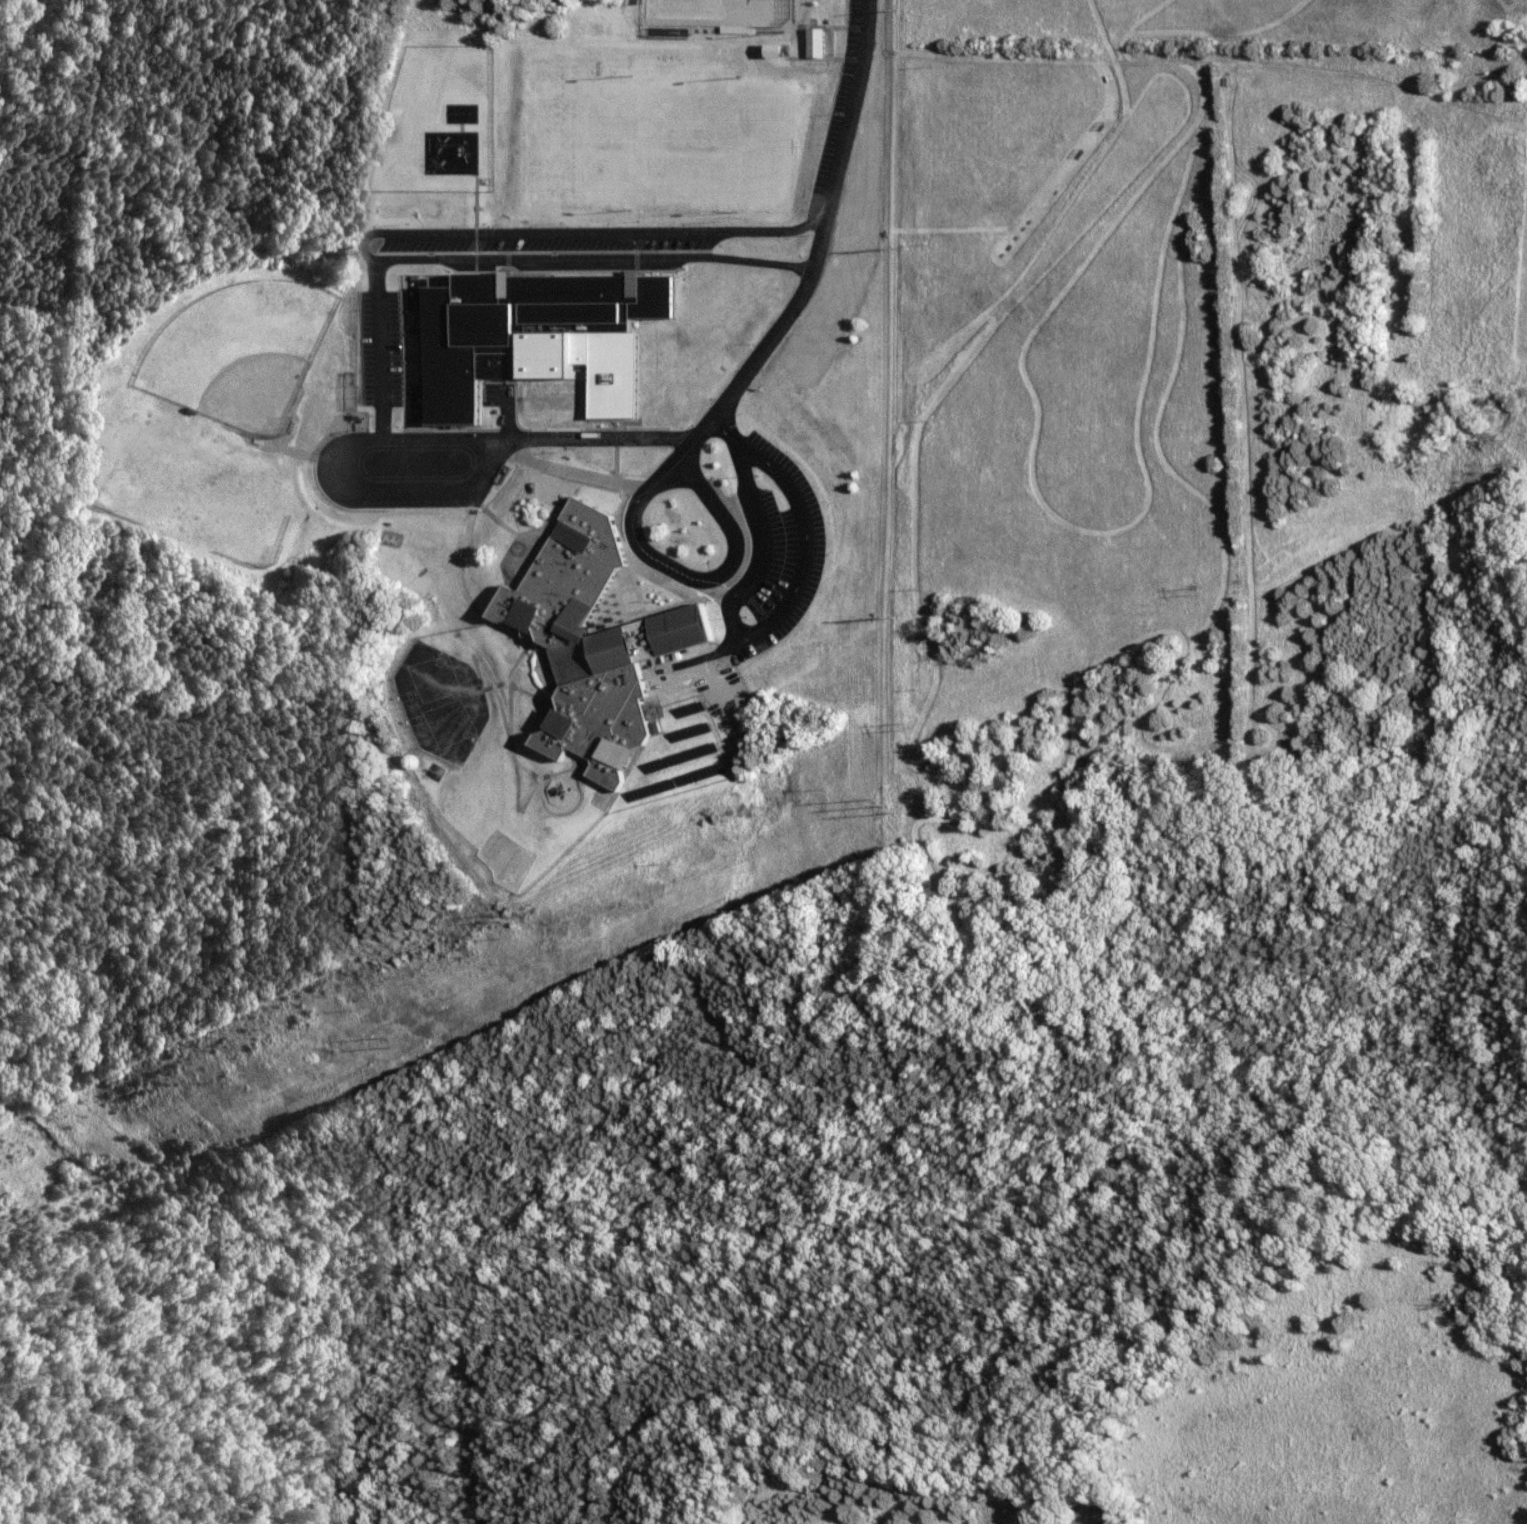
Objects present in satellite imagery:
park: (716, 12)
building: (818, 43)
road: (603, 233)
road: (827, 241)
power tower: (889, 248)
road: (597, 256)
building: (525, 325)
road: (725, 430)
road: (433, 437)
road: (760, 535)
road: (805, 546)
power tower: (1192, 591)
power tower: (891, 617)
building: (603, 645)
power tower: (910, 727)
power tower: (892, 809)
power tower: (505, 917)
power tower: (389, 1043)

